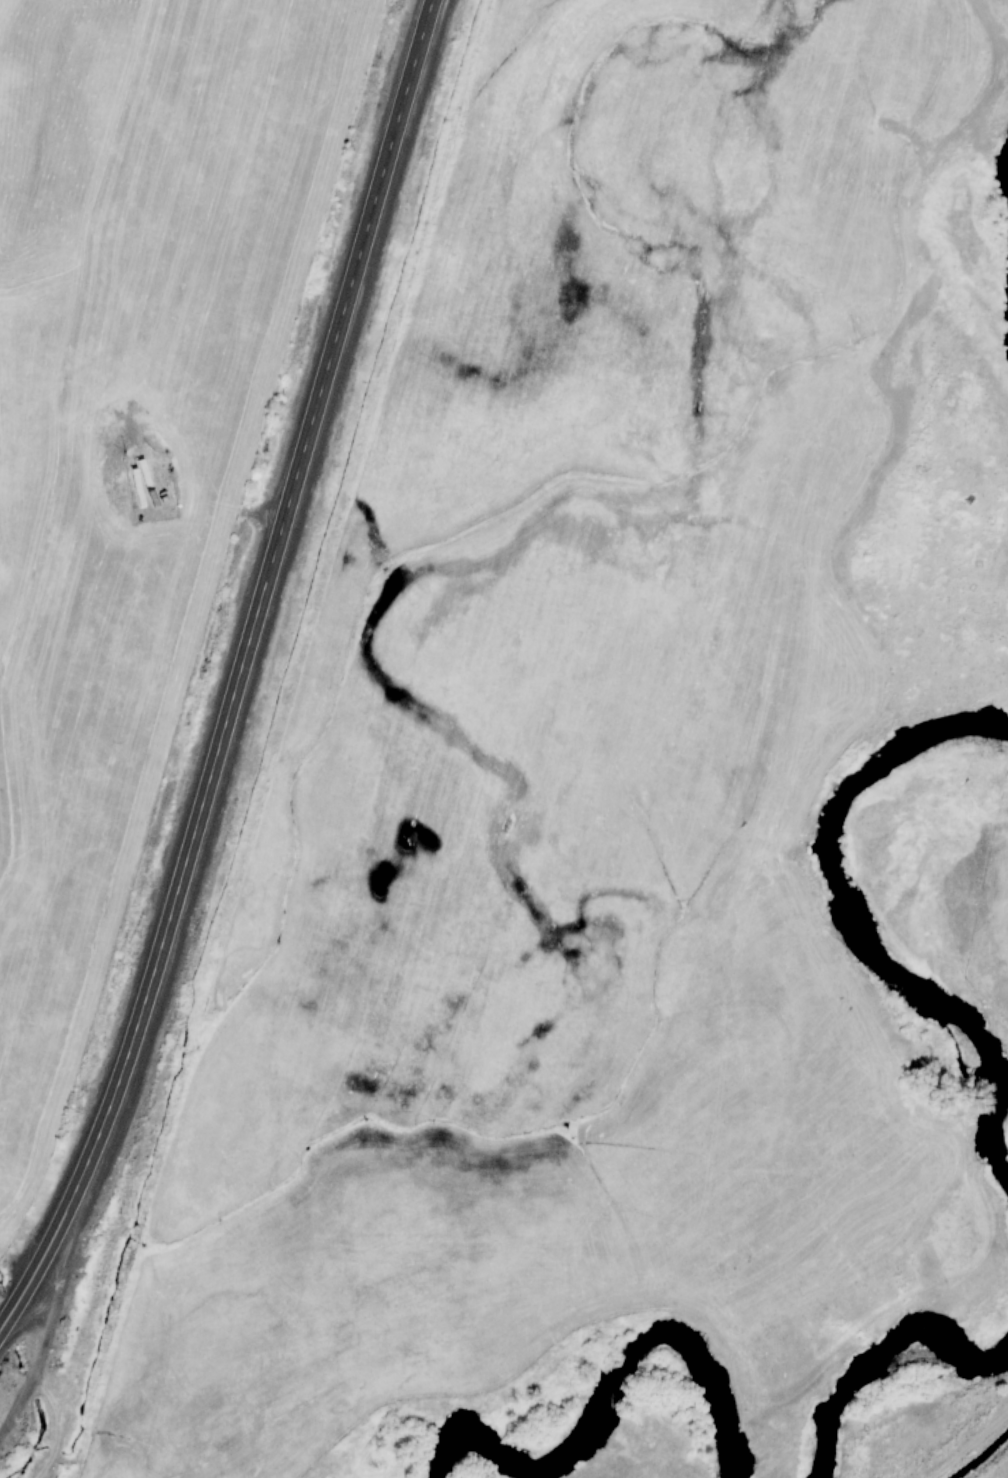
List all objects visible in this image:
road: (237, 671)
river: (859, 919)
river: (879, 1360)
river: (602, 1392)

